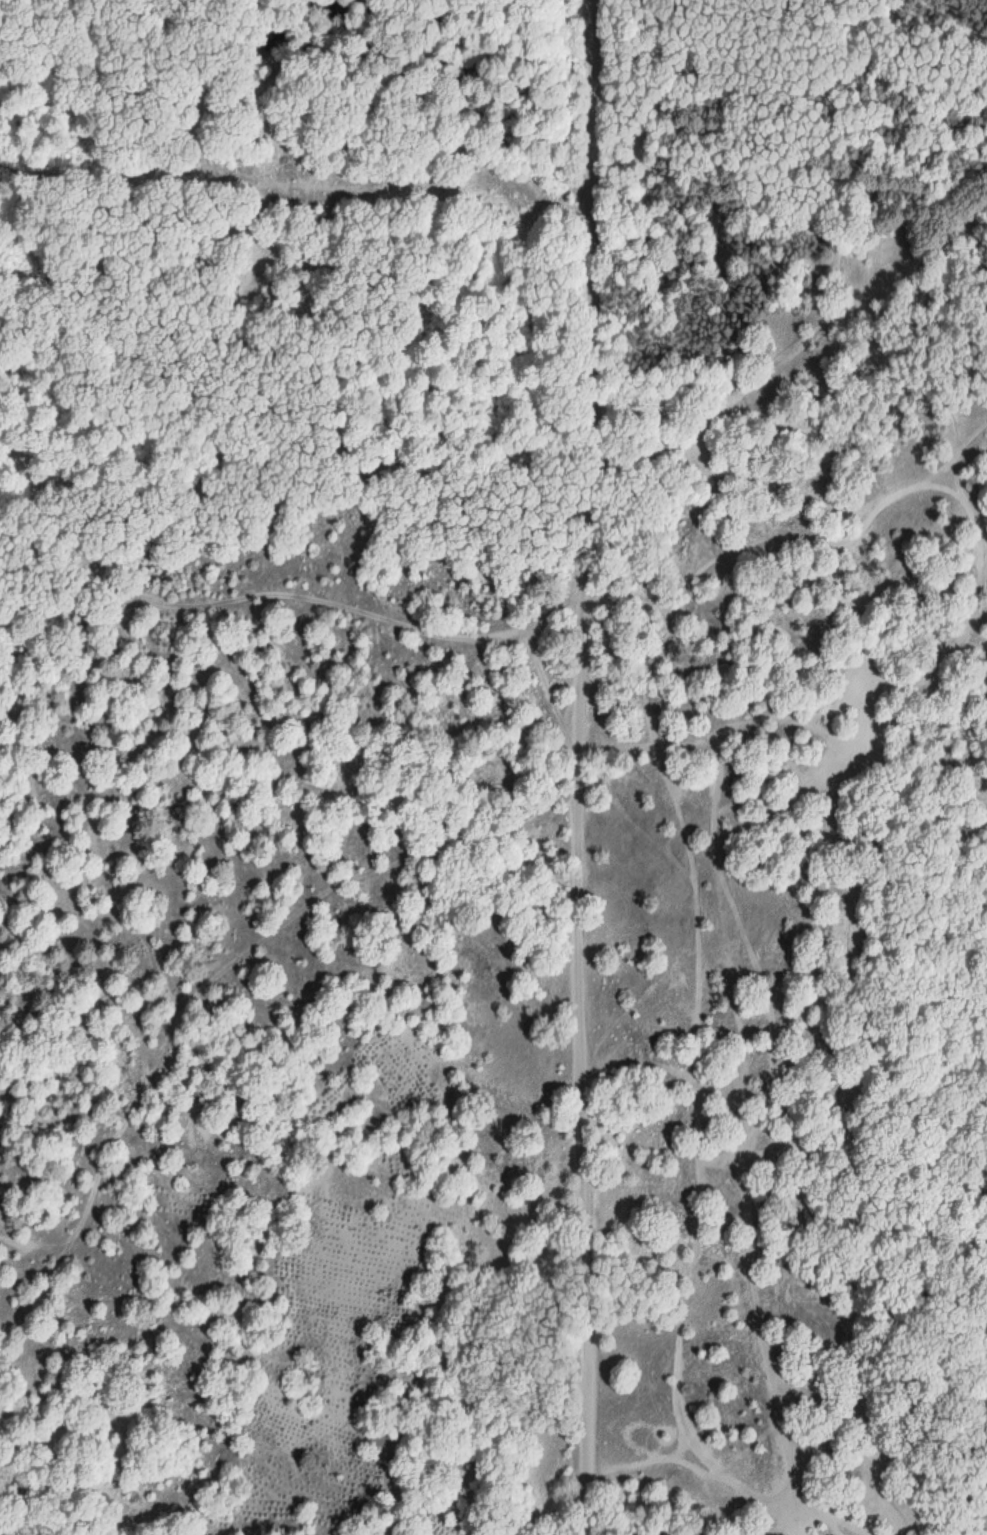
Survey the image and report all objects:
road: (561, 767)
road: (222, 985)

